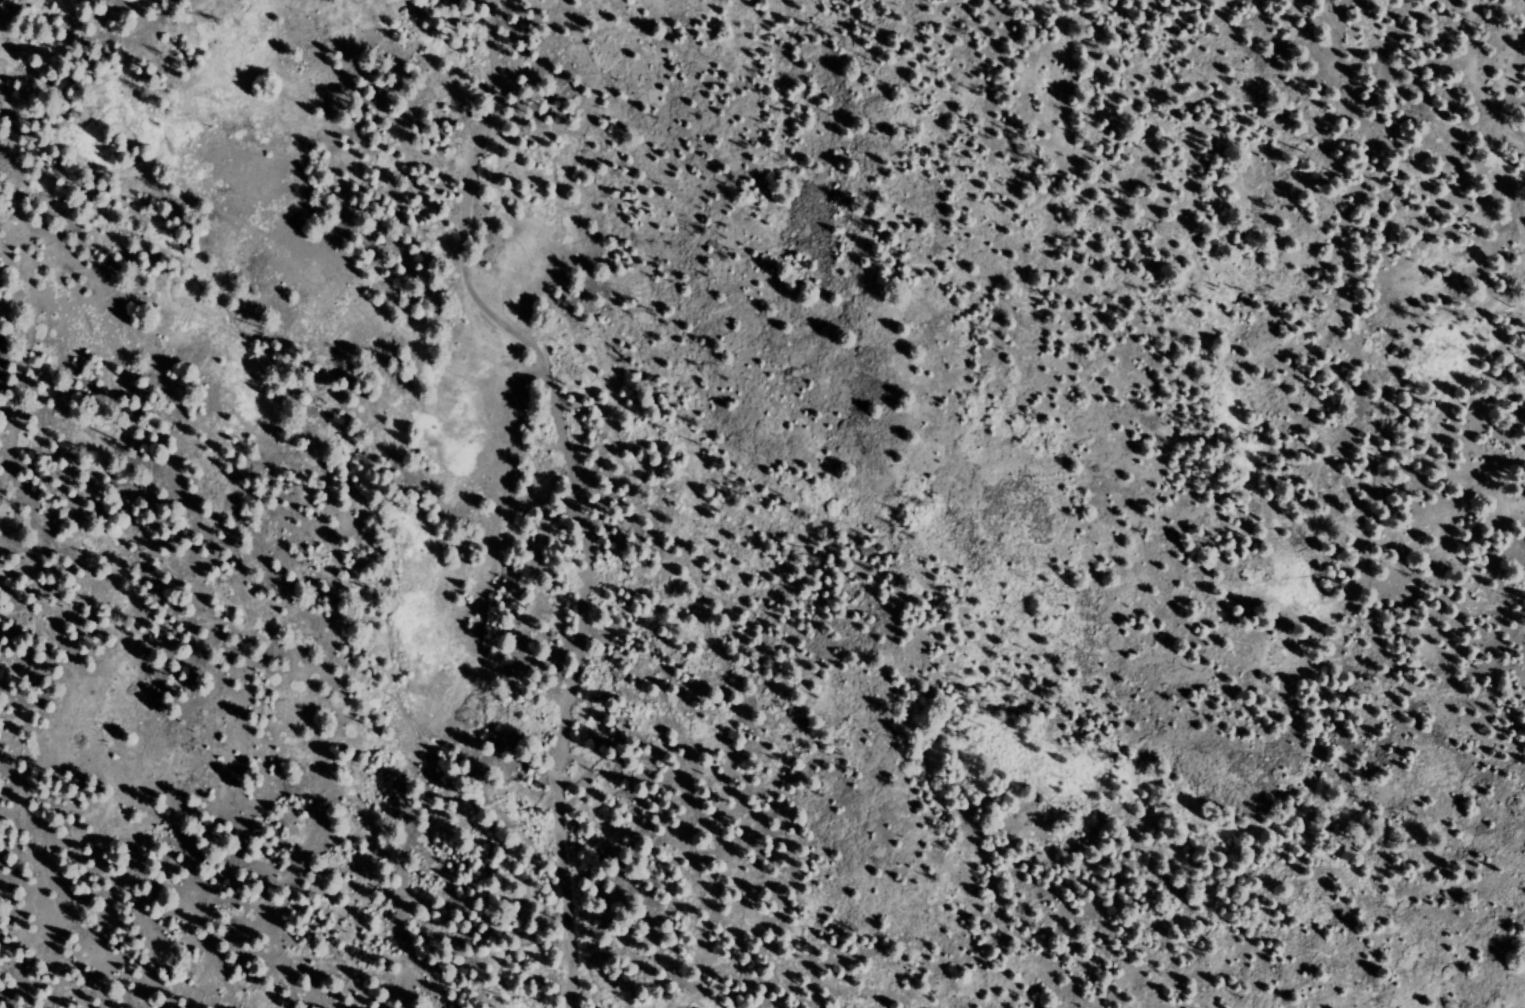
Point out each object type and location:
road: (577, 486)
road: (499, 509)

